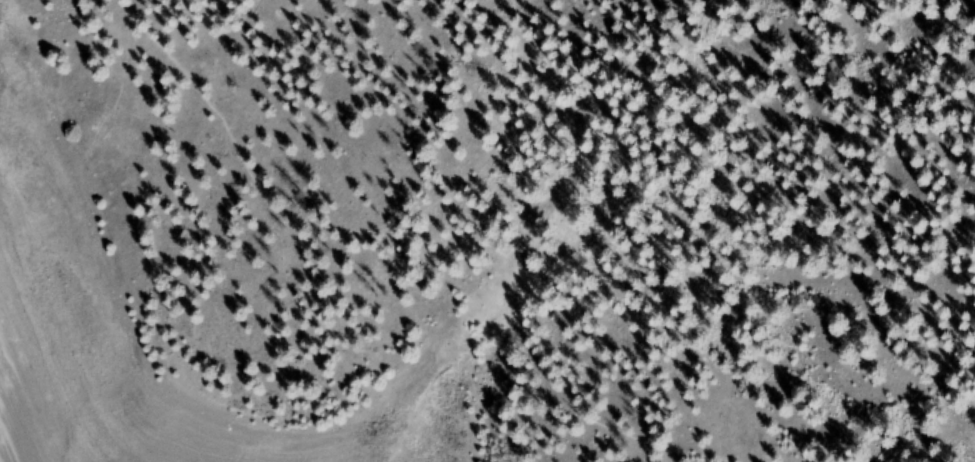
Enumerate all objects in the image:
road: (501, 170)

